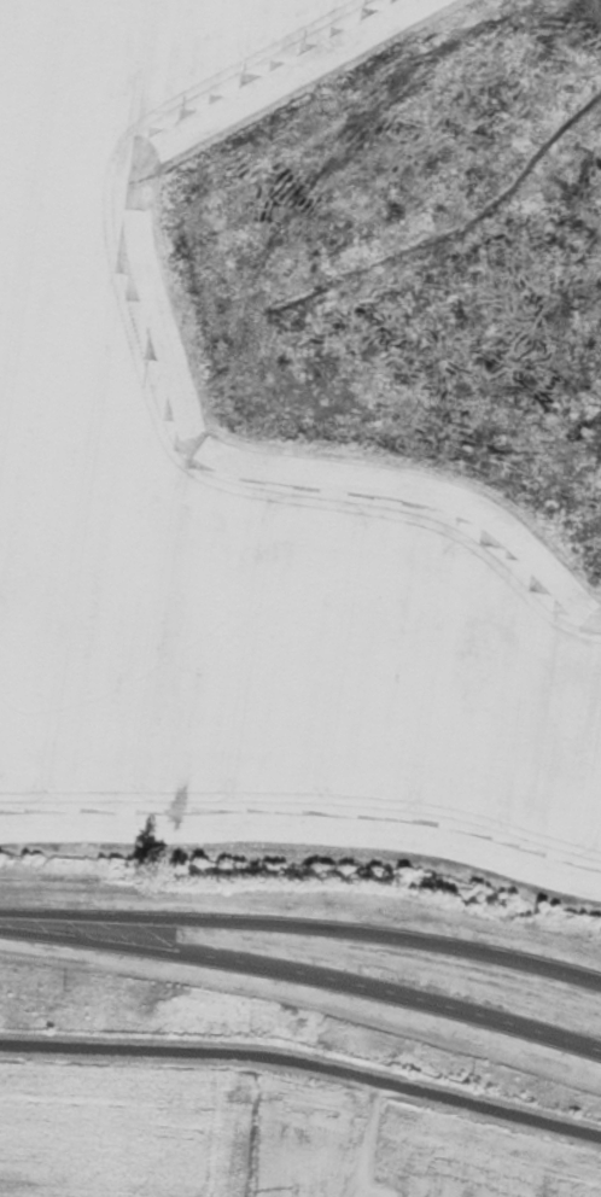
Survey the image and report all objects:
road: (10, 927)
road: (313, 930)
road: (313, 981)
road: (304, 1062)

